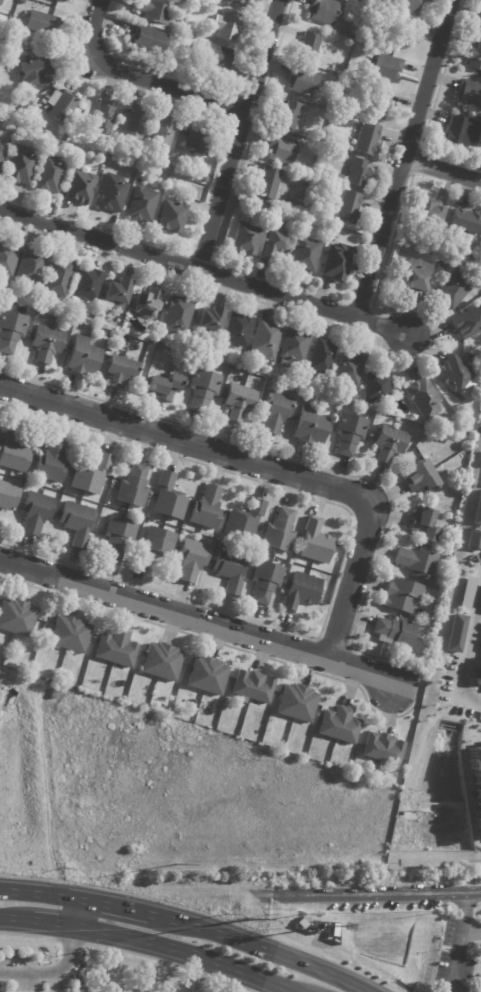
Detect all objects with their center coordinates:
building: (57, 0)
building: (64, 0)
building: (0, 1)
building: (21, 2)
building: (197, 2)
building: (237, 3)
building: (407, 6)
building: (323, 11)
building: (151, 12)
building: (479, 23)
building: (41, 24)
building: (227, 25)
building: (353, 33)
building: (185, 36)
building: (400, 36)
building: (148, 40)
building: (308, 47)
building: (214, 58)
building: (168, 59)
building: (475, 59)
building: (386, 69)
building: (4, 70)
building: (34, 72)
road: (134, 77)
building: (336, 80)
building: (301, 82)
building: (469, 95)
building: (379, 107)
building: (30, 109)
building: (63, 109)
building: (289, 117)
building: (103, 119)
building: (136, 127)
road: (239, 134)
building: (461, 134)
building: (161, 136)
building: (368, 140)
building: (197, 143)
building: (105, 151)
building: (280, 151)
building: (1, 154)
building: (126, 158)
road: (406, 159)
building: (19, 167)
road: (444, 170)
building: (357, 174)
building: (48, 175)
building: (204, 177)
building: (159, 181)
building: (173, 184)
building: (268, 184)
building: (79, 189)
building: (111, 194)
building: (240, 203)
building: (140, 205)
building: (345, 208)
building: (429, 215)
building: (172, 216)
building: (296, 220)
building: (466, 222)
building: (325, 228)
building: (245, 240)
building: (276, 245)
building: (305, 255)
building: (7, 260)
building: (336, 264)
building: (30, 269)
building: (441, 269)
road: (206, 270)
building: (415, 276)
building: (56, 280)
building: (87, 285)
building: (454, 290)
building: (116, 293)
building: (145, 305)
building: (177, 317)
building: (210, 320)
building: (468, 324)
building: (10, 331)
building: (237, 331)
building: (265, 342)
building: (45, 345)
building: (293, 349)
building: (83, 358)
building: (321, 358)
building: (474, 361)
building: (249, 370)
building: (350, 370)
building: (118, 371)
building: (455, 375)
building: (163, 387)
building: (203, 389)
building: (377, 389)
building: (423, 400)
building: (238, 403)
building: (276, 412)
building: (457, 427)
building: (310, 428)
building: (350, 433)
building: (389, 445)
building: (14, 451)
building: (51, 462)
road: (266, 467)
building: (89, 475)
building: (420, 477)
building: (132, 487)
building: (8, 495)
building: (168, 498)
building: (206, 509)
building: (477, 510)
building: (36, 512)
building: (244, 521)
building: (77, 522)
building: (424, 525)
building: (280, 531)
building: (117, 536)
building: (473, 540)
building: (314, 542)
building: (154, 546)
building: (192, 559)
building: (418, 562)
building: (230, 570)
building: (265, 582)
building: (301, 592)
building: (402, 595)
building: (463, 603)
building: (16, 617)
road: (199, 619)
building: (395, 633)
building: (455, 633)
building: (69, 634)
building: (115, 649)
road: (470, 658)
building: (161, 662)
building: (31, 668)
building: (206, 676)
building: (252, 687)
building: (53, 694)
building: (296, 703)
building: (339, 726)
building: (382, 749)
building: (459, 760)
building: (476, 782)
power tower: (175, 860)
road: (42, 892)
road: (369, 894)
road: (115, 906)
road: (78, 913)
road: (16, 918)
power tower: (248, 920)
road: (52, 923)
building: (299, 925)
building: (333, 929)
road: (471, 931)
road: (459, 942)
road: (252, 945)
road: (183, 952)
road: (52, 973)
road: (197, 974)
road: (310, 987)
road: (291, 991)
road: (293, 991)

